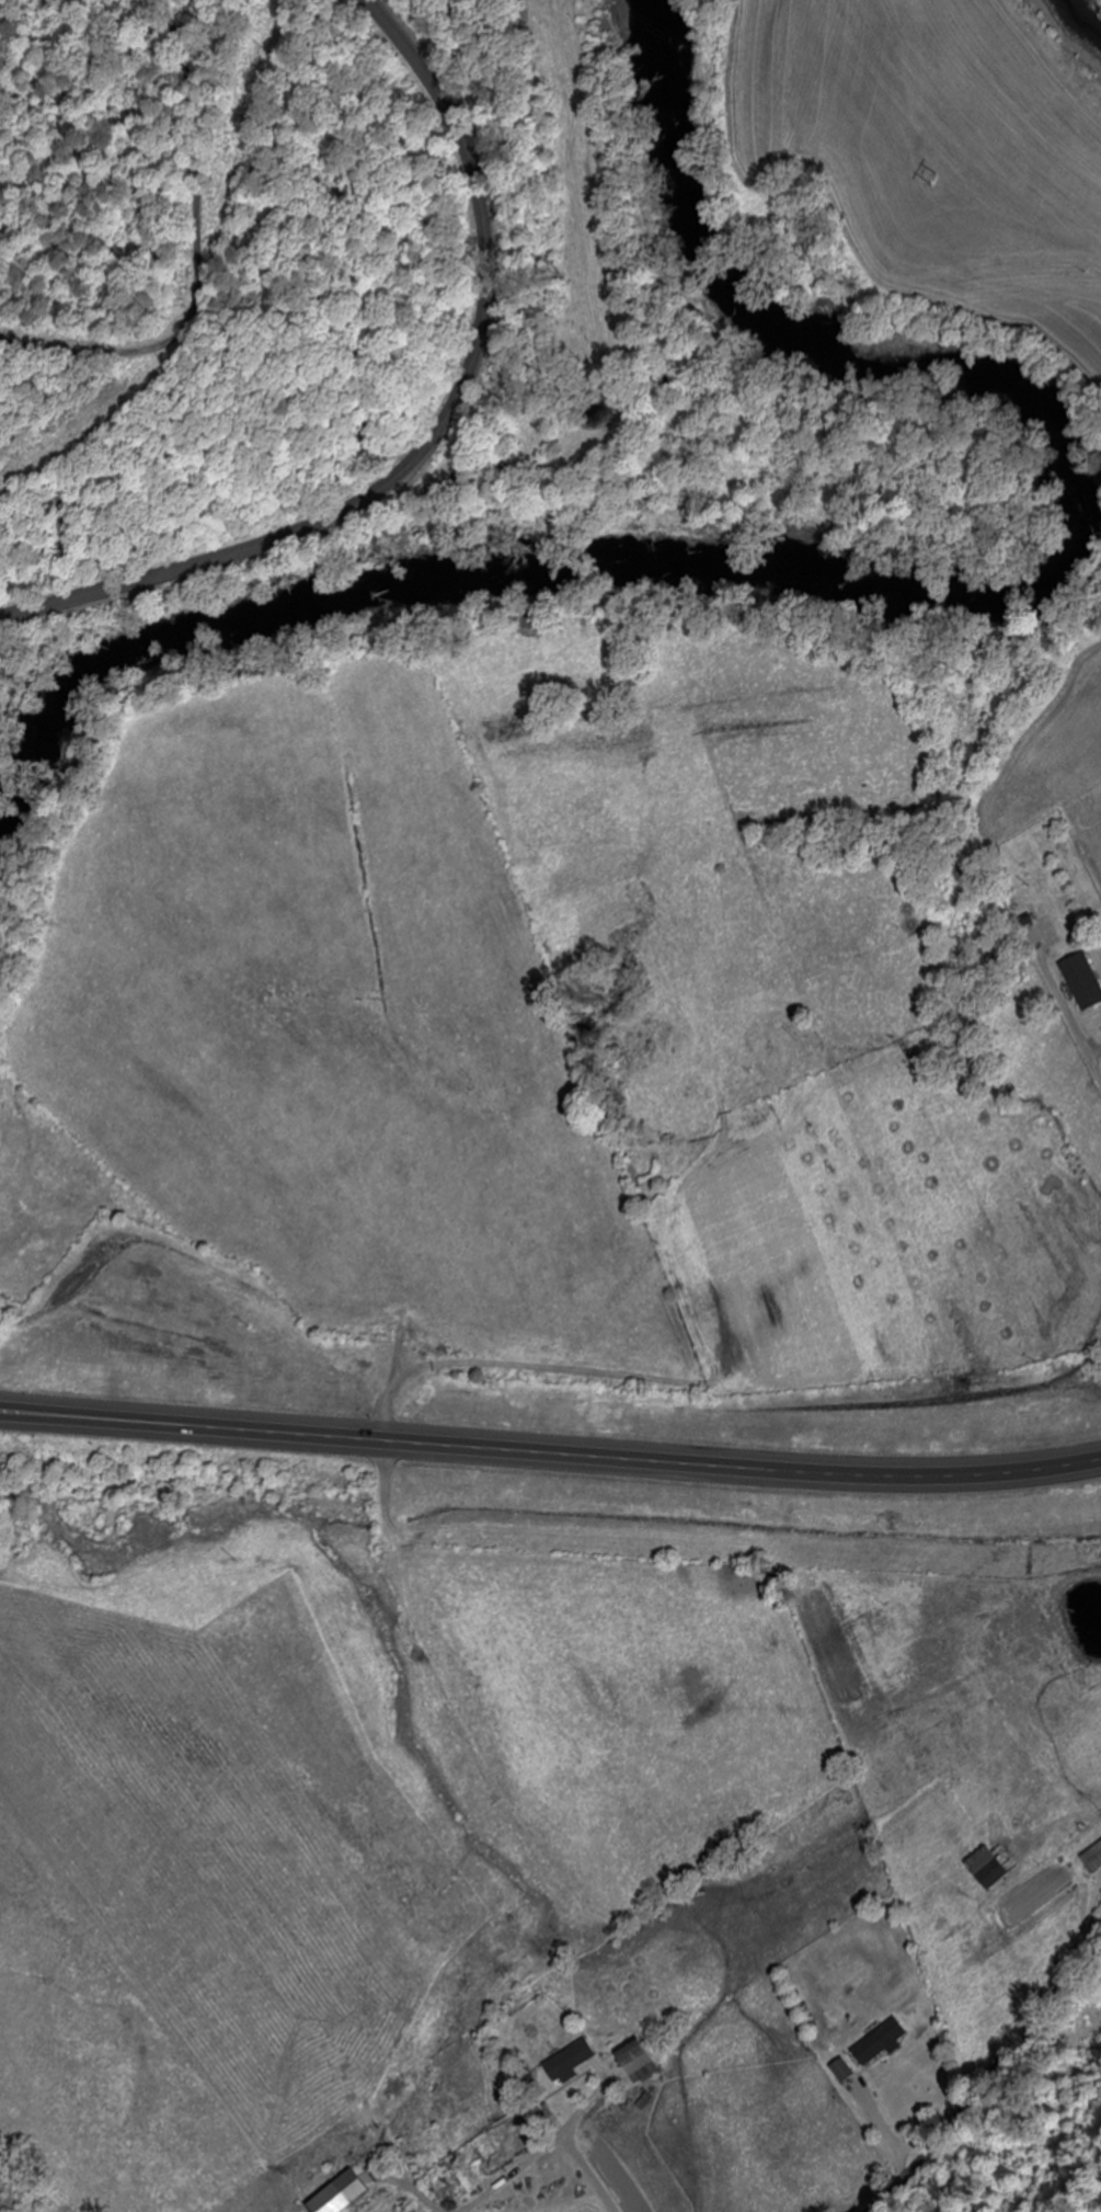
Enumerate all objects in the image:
road: (434, 433)
river: (875, 595)
building: (1082, 981)
road: (550, 1452)
building: (1092, 1858)
building: (986, 1869)
building: (878, 2044)
building: (635, 2062)
building: (569, 2064)
building: (840, 2072)
road: (983, 2079)
building: (451, 2181)
building: (340, 2194)

